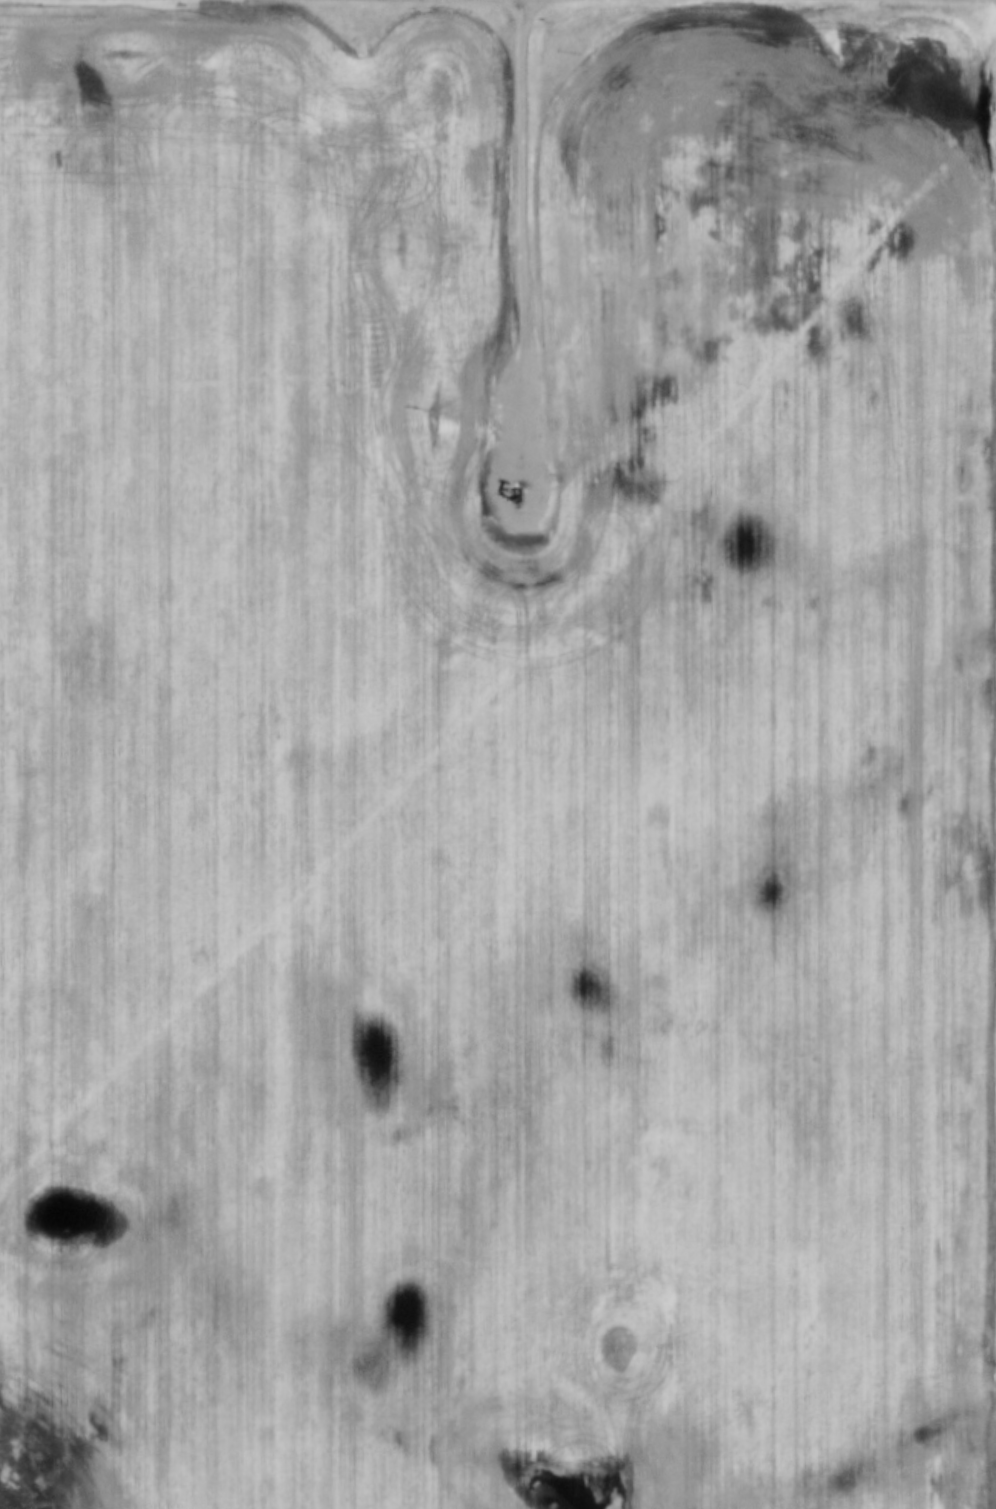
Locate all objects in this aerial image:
road: (526, 230)

